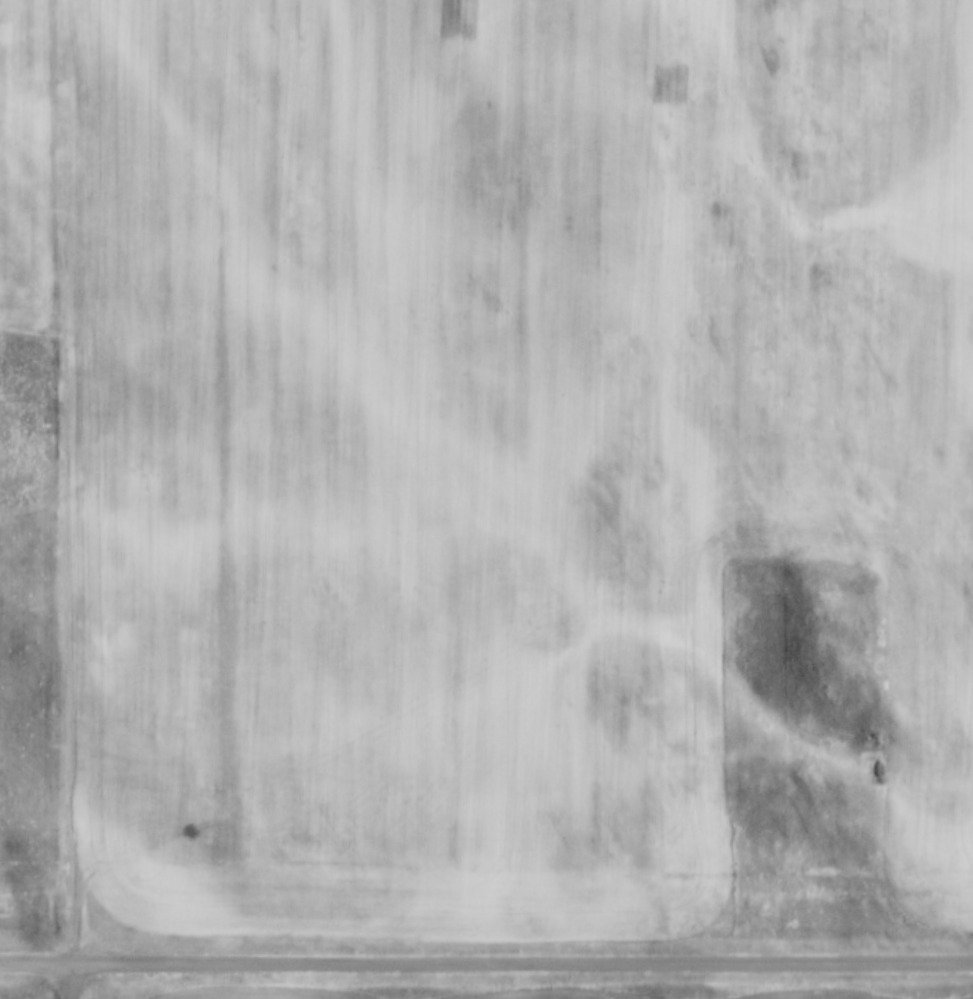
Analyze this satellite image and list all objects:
road: (486, 965)
road: (75, 981)

